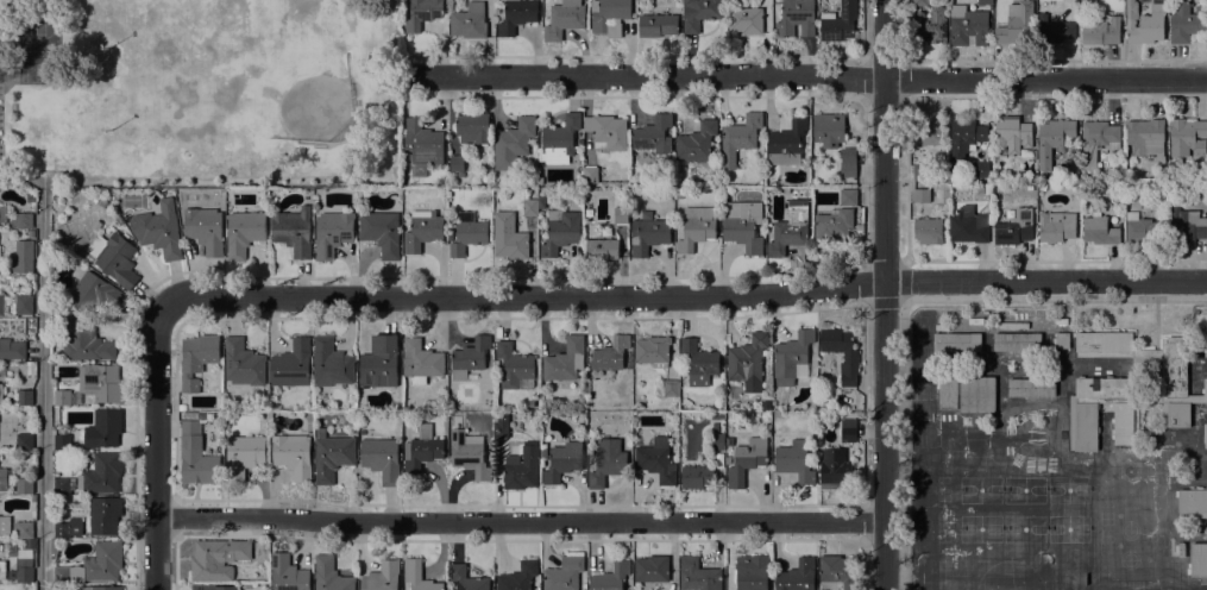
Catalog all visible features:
building: (995, 0)
building: (985, 1)
building: (1088, 1)
building: (920, 2)
building: (1159, 5)
building: (422, 13)
building: (700, 13)
building: (517, 15)
building: (610, 15)
building: (796, 18)
building: (564, 19)
building: (746, 19)
building: (469, 21)
building: (1187, 21)
building: (840, 23)
building: (966, 24)
building: (658, 25)
building: (931, 25)
building: (1017, 25)
building: (1143, 25)
building: (1055, 30)
building: (1102, 31)
road: (812, 76)
park: (201, 90)
building: (473, 128)
building: (829, 130)
building: (606, 132)
building: (928, 132)
building: (654, 134)
building: (1012, 134)
building: (1188, 137)
building: (559, 138)
building: (738, 138)
building: (966, 138)
building: (1146, 138)
building: (1054, 139)
building: (786, 140)
building: (1098, 140)
building: (697, 142)
building: (423, 143)
building: (513, 143)
building: (1035, 158)
building: (457, 163)
building: (848, 163)
building: (404, 169)
building: (981, 169)
building: (590, 175)
building: (540, 181)
building: (442, 183)
building: (1042, 187)
building: (1074, 187)
building: (987, 188)
building: (784, 192)
building: (679, 194)
building: (922, 195)
building: (849, 196)
building: (496, 200)
building: (542, 201)
building: (99, 203)
building: (530, 207)
building: (4, 214)
building: (621, 215)
building: (24, 220)
building: (95, 225)
building: (743, 225)
building: (834, 225)
building: (968, 225)
building: (1187, 225)
building: (1056, 226)
building: (696, 227)
building: (1014, 227)
building: (205, 228)
building: (790, 228)
building: (860, 228)
building: (1143, 228)
building: (158, 230)
building: (422, 230)
building: (293, 231)
building: (929, 231)
building: (1099, 231)
building: (381, 232)
building: (560, 232)
building: (244, 233)
building: (333, 233)
building: (467, 233)
building: (31, 234)
building: (648, 234)
building: (509, 237)
building: (601, 250)
building: (23, 256)
building: (114, 258)
building: (94, 294)
road: (886, 294)
road: (686, 299)
road: (910, 299)
building: (1, 305)
building: (24, 305)
building: (1062, 340)
building: (83, 341)
building: (957, 341)
building: (1017, 341)
building: (1105, 341)
building: (1205, 341)
building: (12, 350)
building: (653, 351)
building: (610, 353)
building: (1206, 353)
building: (792, 356)
building: (470, 357)
building: (850, 357)
building: (196, 359)
building: (747, 359)
building: (565, 360)
building: (421, 362)
building: (243, 363)
building: (331, 363)
building: (379, 363)
building: (699, 363)
building: (291, 364)
building: (513, 365)
building: (1176, 365)
building: (31, 368)
building: (1164, 376)
building: (100, 382)
road: (42, 384)
building: (1031, 387)
building: (1205, 387)
building: (671, 388)
building: (948, 393)
building: (1, 394)
building: (976, 394)
building: (25, 397)
building: (62, 397)
building: (182, 407)
building: (1083, 413)
building: (1178, 414)
building: (713, 425)
building: (580, 427)
building: (103, 428)
building: (501, 429)
building: (848, 431)
building: (1205, 433)
building: (24, 440)
building: (62, 441)
building: (717, 441)
road: (157, 445)
building: (1206, 445)
building: (421, 450)
building: (589, 451)
building: (469, 453)
building: (244, 454)
building: (542, 454)
building: (196, 456)
building: (293, 456)
building: (332, 456)
building: (382, 459)
building: (727, 459)
building: (562, 460)
building: (656, 460)
building: (746, 460)
building: (794, 460)
building: (606, 462)
building: (521, 469)
building: (834, 470)
building: (101, 473)
building: (697, 476)
building: (2, 478)
building: (24, 485)
building: (62, 485)
building: (1193, 501)
building: (103, 514)
building: (1193, 515)
building: (5, 526)
road: (522, 527)
building: (67, 528)
building: (24, 529)
building: (30, 544)
building: (54, 547)
building: (1181, 550)
building: (218, 558)
building: (1199, 559)
building: (94, 565)
building: (1, 569)
building: (652, 569)
building: (23, 570)
building: (840, 570)
building: (752, 572)
building: (288, 573)
building: (564, 573)
building: (331, 575)
building: (698, 575)
building: (417, 576)
building: (518, 576)
building: (797, 576)
building: (382, 577)
building: (610, 577)
building: (466, 578)
building: (210, 586)
building: (101, 588)

